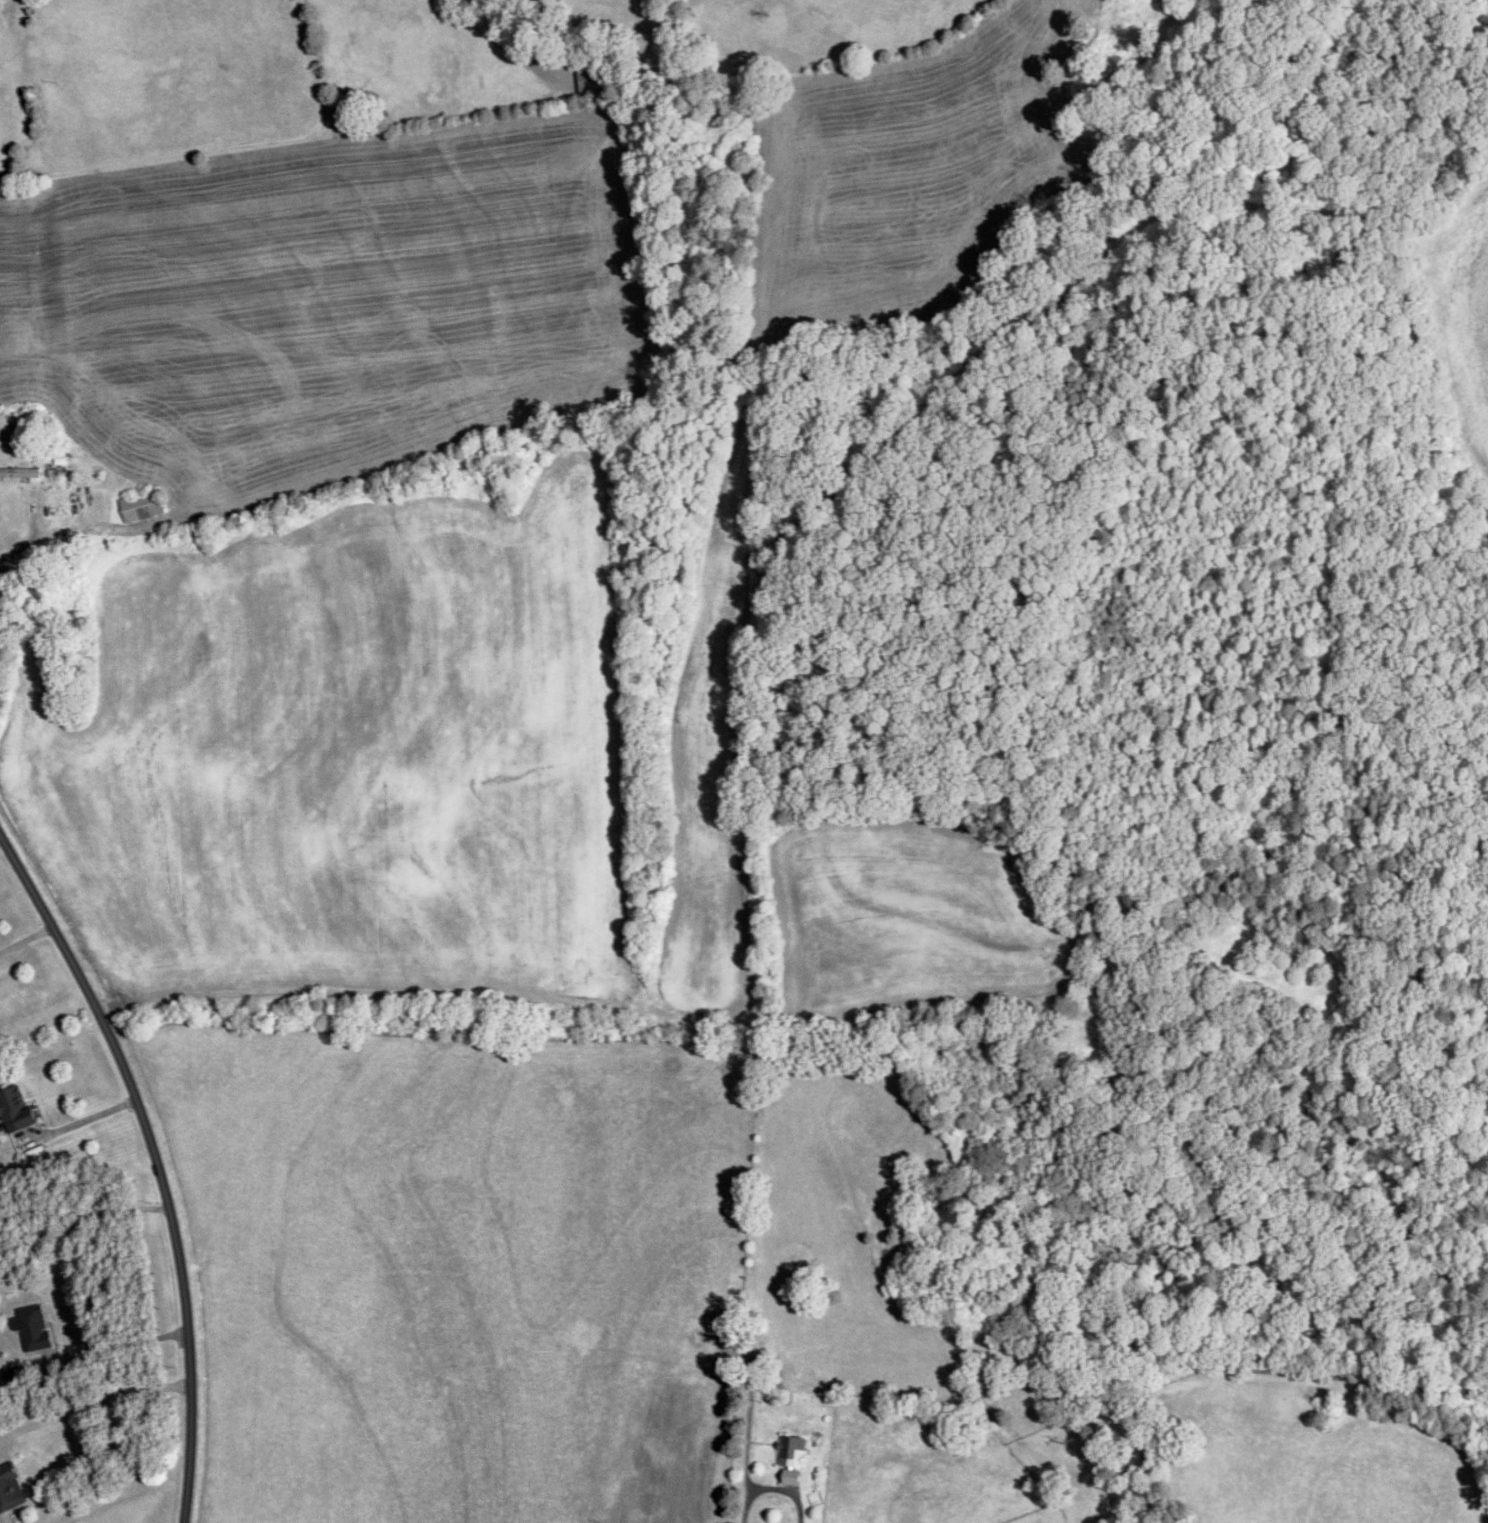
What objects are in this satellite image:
river: (1482, 3)
road: (494, 10)
road: (223, 148)
building: (19, 473)
building: (141, 507)
road: (26, 541)
road: (25, 939)
road: (698, 1018)
building: (15, 1109)
road: (81, 1122)
road: (156, 1162)
building: (34, 1328)
road: (116, 1340)
road: (93, 1394)
building: (792, 1448)
building: (10, 1490)
road: (745, 1497)

